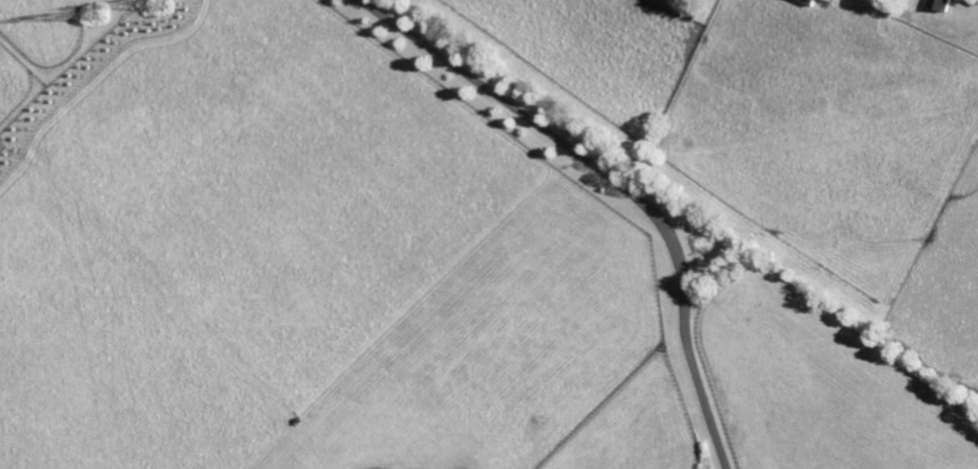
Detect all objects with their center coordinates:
power tower: (167, 1)
power tower: (103, 31)
road: (618, 182)

